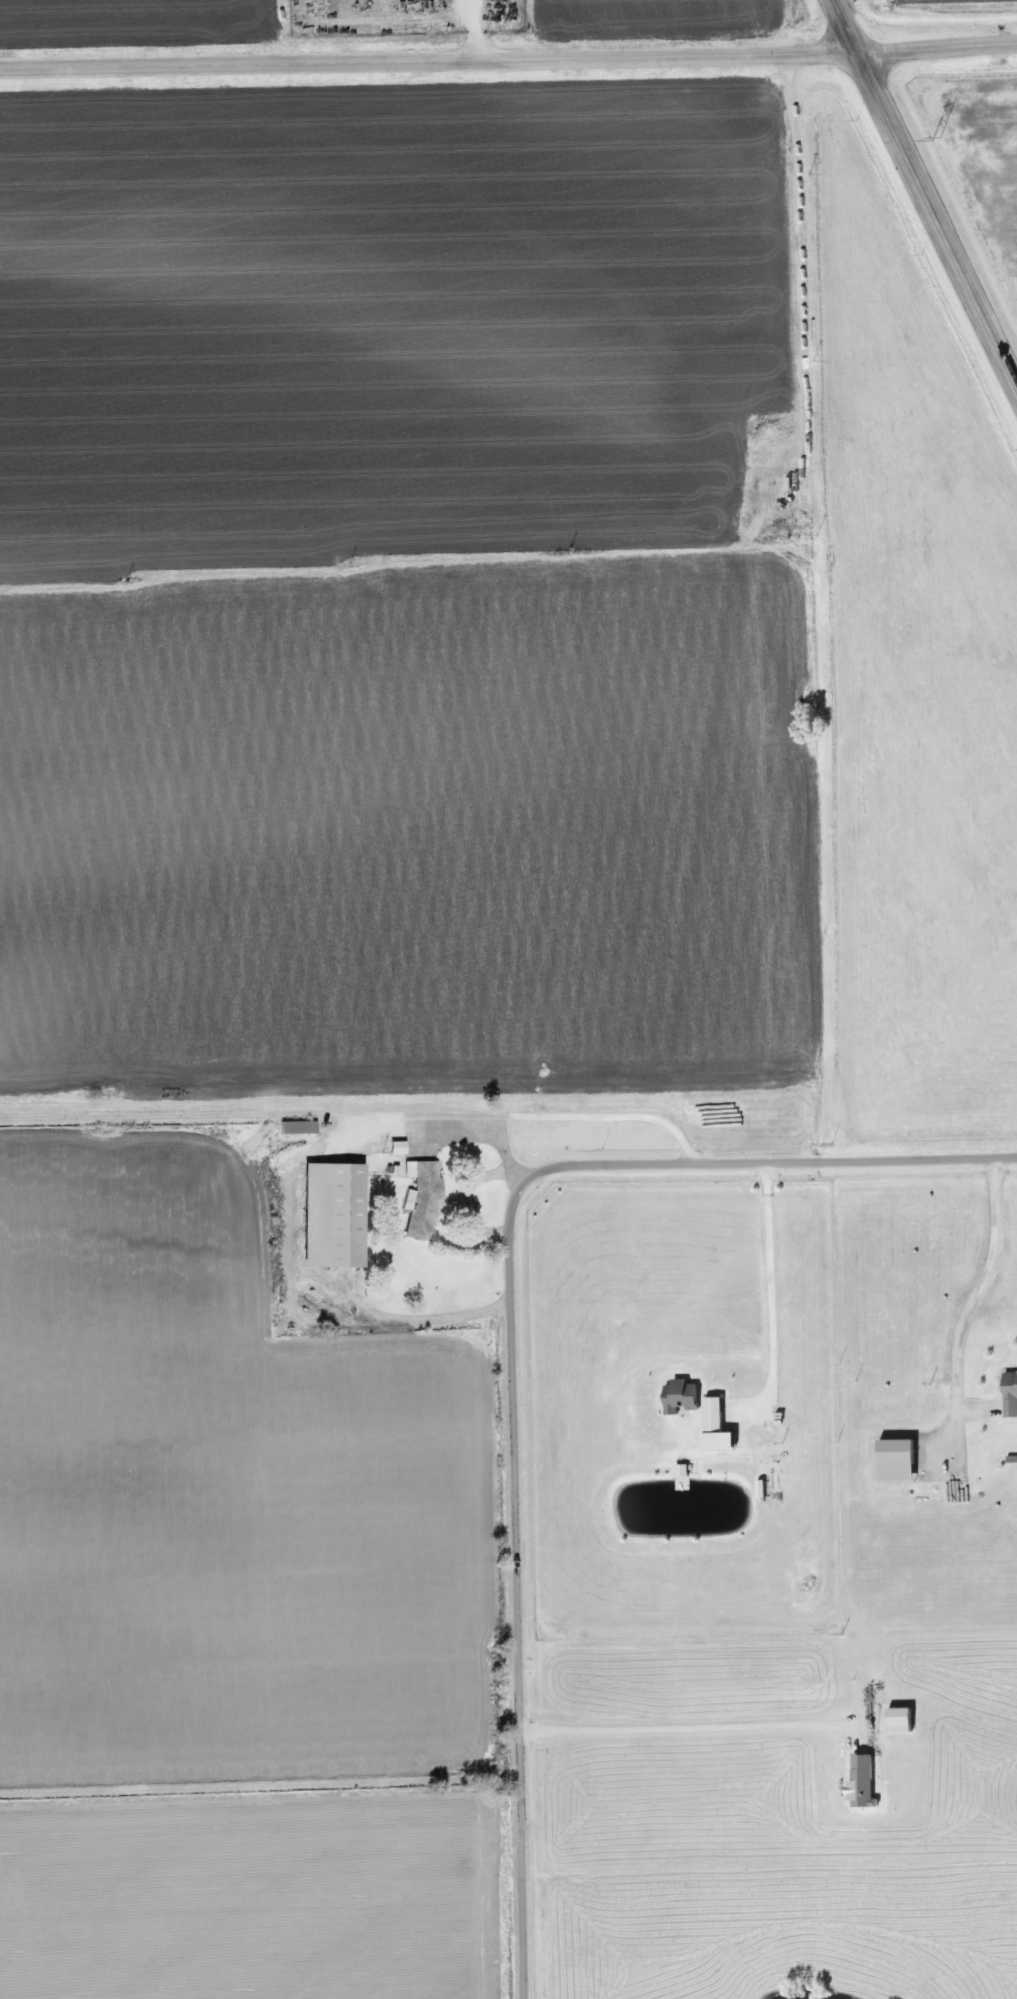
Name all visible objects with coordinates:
road: (508, 62)
power tower: (934, 139)
road: (921, 194)
building: (294, 1131)
building: (420, 1201)
road: (462, 1201)
building: (331, 1216)
road: (772, 1295)
road: (971, 1302)
road: (513, 1332)
building: (899, 1461)

